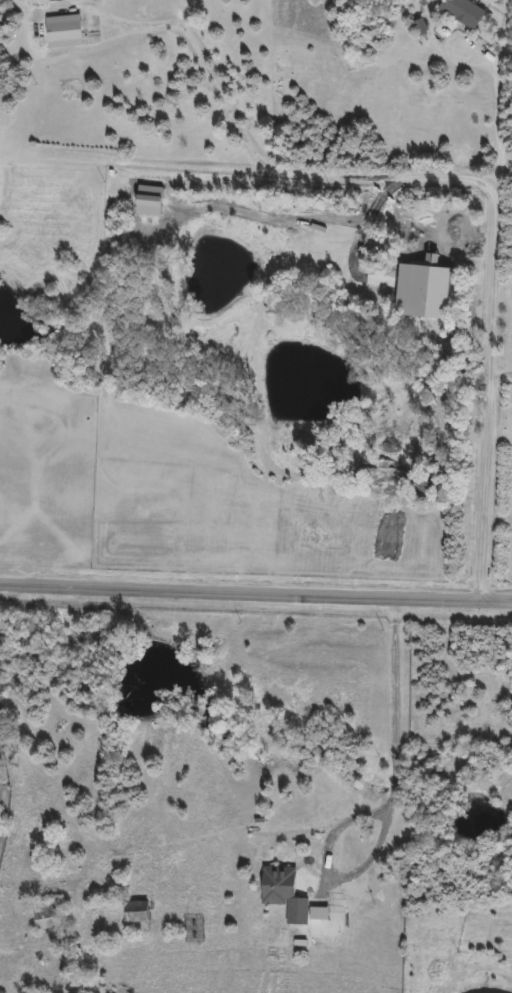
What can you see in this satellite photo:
building: (54, 1)
building: (464, 13)
building: (67, 32)
road: (503, 121)
road: (502, 194)
building: (330, 256)
road: (505, 375)
road: (255, 593)
road: (389, 807)
building: (294, 902)
building: (48, 917)

